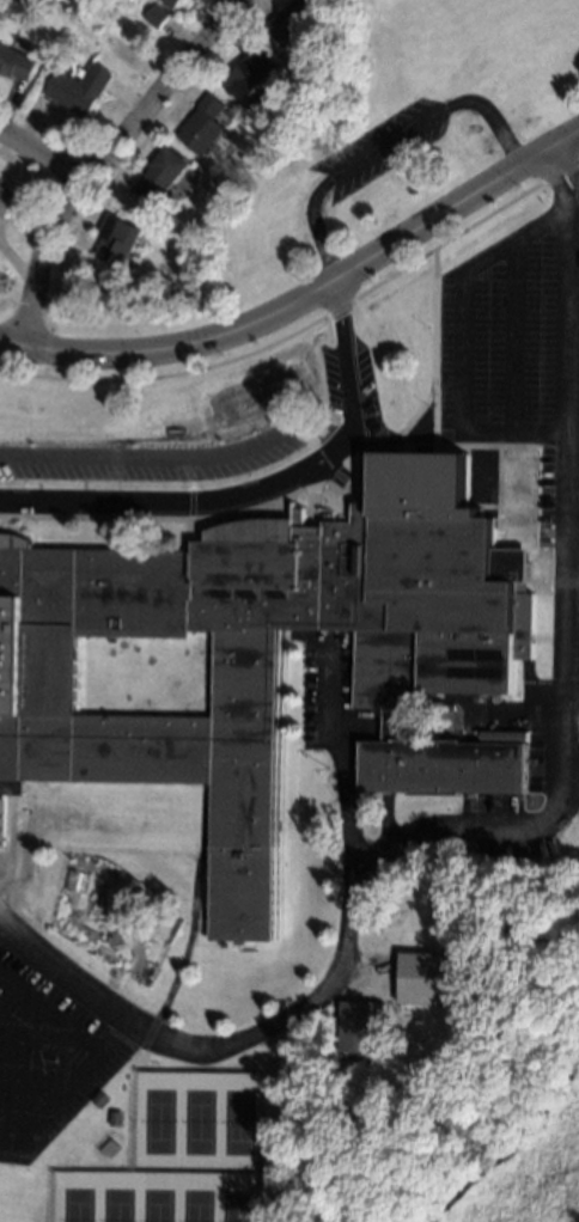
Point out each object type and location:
building: (171, 2)
building: (156, 16)
building: (297, 18)
building: (16, 62)
building: (251, 72)
building: (78, 88)
building: (206, 124)
park: (392, 136)
road: (382, 143)
parking lot: (380, 145)
road: (43, 159)
road: (104, 161)
road: (572, 172)
building: (163, 175)
road: (556, 181)
building: (6, 200)
building: (118, 240)
road: (304, 295)
road: (461, 342)
parking lot: (524, 383)
parking lot: (352, 389)
road: (256, 489)
road: (569, 623)
building: (272, 656)
parking lot: (322, 691)
building: (513, 738)
parking lot: (547, 758)
parking lot: (495, 807)
building: (1, 820)
parking lot: (0, 861)
road: (194, 906)
building: (422, 978)
road: (293, 1010)
building: (353, 1026)
parking lot: (47, 1058)
park: (175, 1155)
park: (513, 1165)

